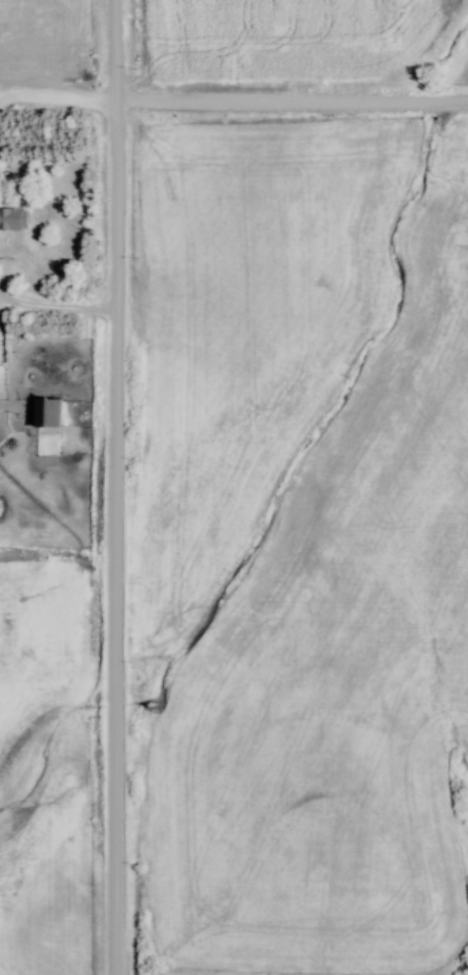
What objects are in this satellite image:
road: (233, 104)
building: (12, 219)
road: (52, 312)
building: (45, 414)
road: (107, 487)

